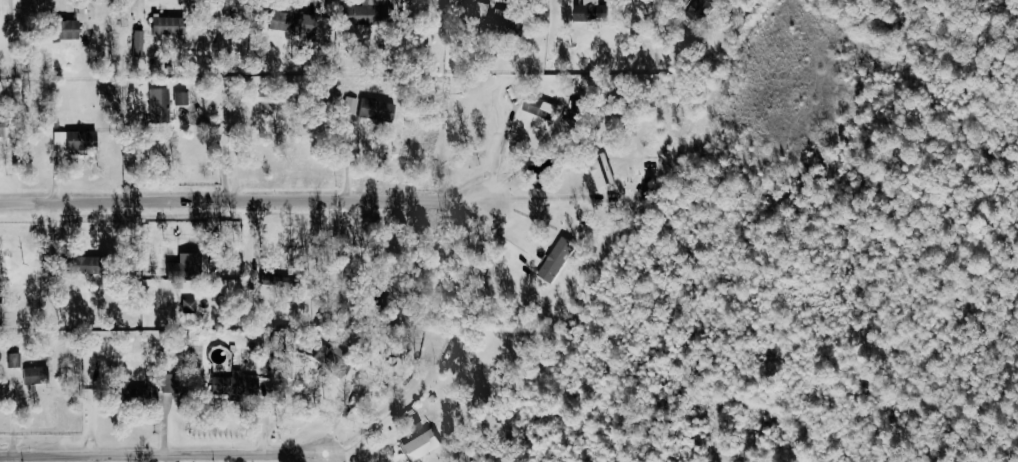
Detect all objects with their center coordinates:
building: (701, 9)
building: (590, 11)
building: (354, 14)
building: (291, 21)
building: (166, 25)
building: (64, 29)
building: (139, 43)
building: (183, 98)
building: (160, 105)
building: (539, 106)
building: (369, 108)
building: (0, 128)
building: (77, 140)
road: (501, 148)
building: (602, 169)
road: (547, 197)
road: (242, 199)
building: (558, 260)
building: (77, 264)
building: (183, 265)
road: (753, 300)
building: (283, 343)
building: (37, 375)
building: (236, 384)
building: (151, 395)
building: (422, 445)
road: (164, 454)
road: (328, 457)

